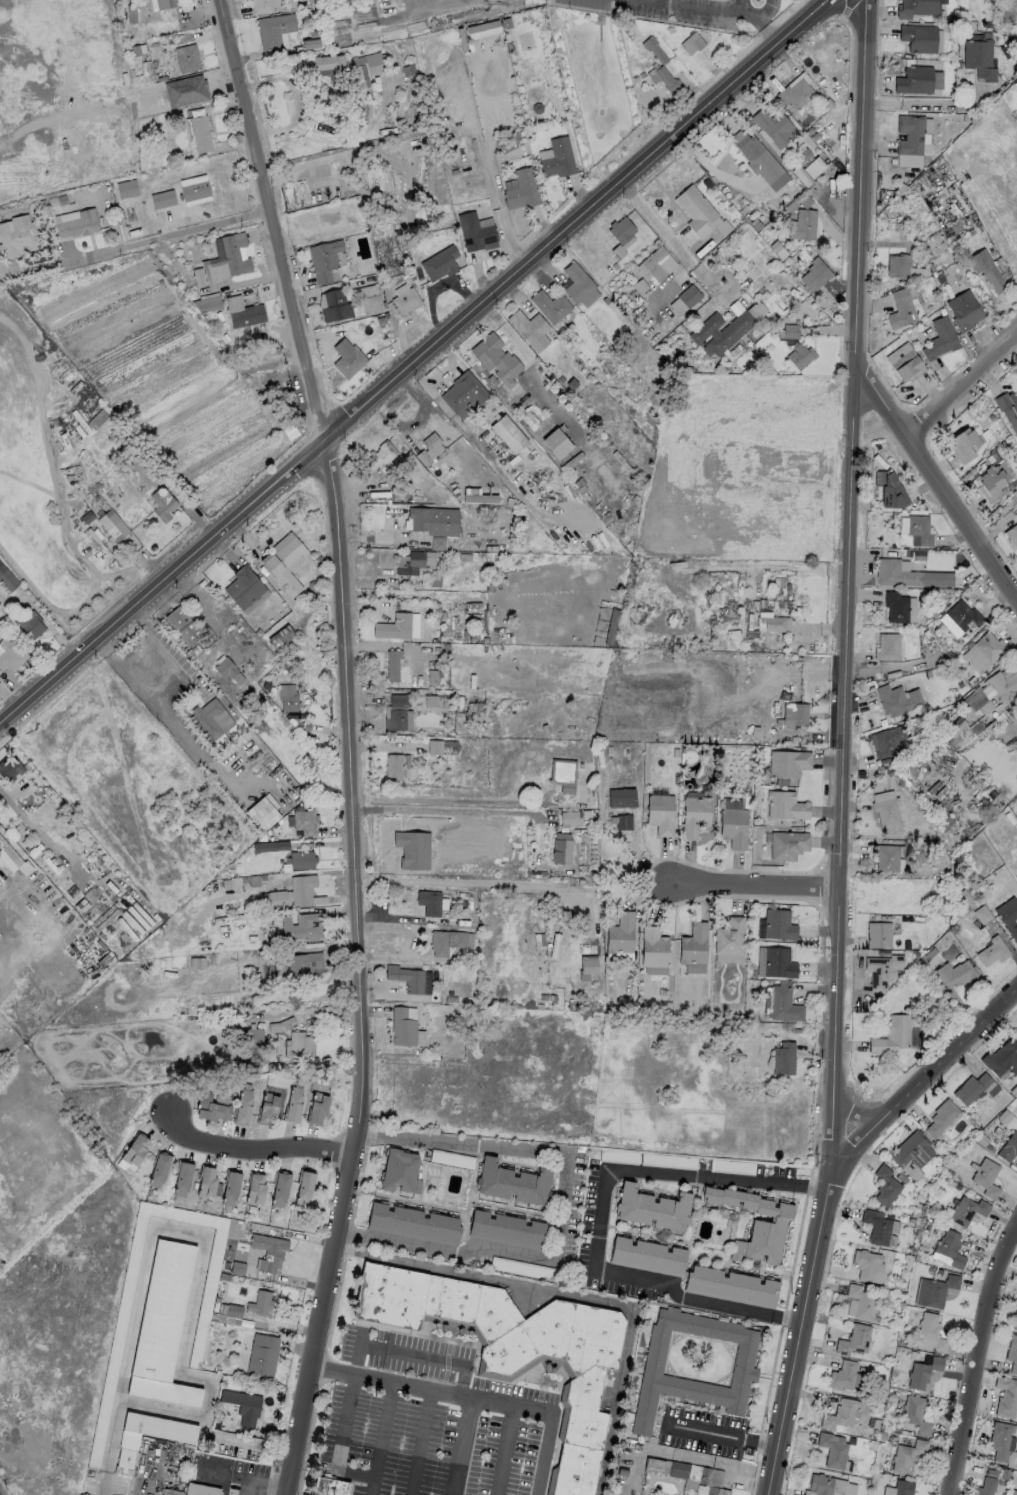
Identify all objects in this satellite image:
building: (164, 4)
road: (737, 5)
building: (261, 6)
building: (916, 7)
road: (732, 9)
road: (767, 11)
road: (854, 19)
building: (481, 29)
building: (274, 30)
building: (918, 37)
building: (691, 43)
building: (310, 44)
building: (978, 57)
building: (187, 58)
building: (658, 65)
building: (341, 67)
building: (917, 79)
building: (797, 95)
road: (928, 104)
building: (773, 126)
building: (198, 133)
building: (909, 134)
building: (746, 145)
building: (557, 158)
building: (311, 167)
building: (814, 167)
building: (126, 188)
building: (521, 188)
building: (195, 190)
building: (162, 198)
building: (696, 210)
building: (77, 224)
building: (802, 224)
road: (658, 225)
building: (622, 229)
building: (476, 231)
building: (17, 235)
road: (167, 235)
building: (745, 245)
building: (324, 259)
building: (223, 260)
building: (657, 263)
road: (33, 265)
building: (438, 265)
building: (898, 265)
building: (987, 270)
building: (814, 274)
building: (577, 282)
building: (685, 299)
building: (370, 300)
building: (405, 300)
building: (208, 304)
building: (774, 304)
building: (334, 305)
building: (550, 305)
building: (900, 309)
building: (963, 310)
building: (243, 312)
building: (529, 329)
building: (720, 331)
building: (788, 332)
building: (940, 338)
building: (799, 355)
building: (347, 358)
building: (496, 359)
building: (904, 361)
road: (419, 366)
road: (443, 375)
road: (963, 382)
building: (463, 394)
building: (1008, 409)
road: (455, 420)
building: (508, 434)
building: (556, 443)
building: (964, 443)
building: (429, 449)
building: (380, 457)
road: (942, 481)
building: (990, 483)
building: (889, 490)
building: (162, 504)
building: (434, 520)
building: (112, 525)
building: (919, 529)
building: (1012, 534)
building: (437, 543)
building: (416, 560)
building: (284, 562)
building: (904, 573)
building: (7, 579)
building: (243, 587)
building: (894, 606)
building: (963, 615)
building: (774, 623)
building: (31, 624)
building: (182, 625)
building: (393, 627)
building: (280, 637)
building: (886, 646)
building: (988, 646)
building: (10, 654)
building: (392, 665)
building: (228, 670)
building: (1002, 682)
road: (176, 692)
building: (287, 697)
building: (896, 699)
building: (794, 714)
building: (210, 720)
building: (398, 720)
building: (884, 743)
road: (342, 744)
building: (434, 747)
road: (200, 749)
road: (841, 749)
building: (788, 763)
building: (392, 767)
building: (10, 769)
building: (561, 774)
building: (620, 798)
building: (785, 806)
road: (444, 811)
building: (886, 811)
building: (262, 814)
building: (660, 814)
building: (694, 816)
building: (569, 819)
building: (305, 822)
building: (623, 822)
building: (733, 828)
building: (410, 842)
building: (787, 845)
building: (560, 849)
building: (12, 858)
building: (886, 858)
building: (300, 859)
road: (468, 881)
road: (753, 886)
building: (302, 889)
building: (68, 890)
building: (429, 902)
building: (1008, 916)
building: (776, 925)
building: (301, 927)
building: (620, 933)
building: (878, 935)
building: (729, 940)
building: (448, 941)
building: (693, 944)
building: (653, 947)
building: (991, 951)
building: (774, 963)
building: (296, 966)
building: (586, 967)
building: (881, 970)
building: (952, 975)
building: (406, 978)
building: (784, 1004)
building: (280, 1025)
building: (402, 1027)
building: (1016, 1032)
building: (892, 1036)
building: (250, 1042)
building: (298, 1044)
building: (1002, 1058)
building: (783, 1059)
building: (1007, 1078)
road: (922, 1089)
building: (974, 1089)
building: (292, 1105)
building: (242, 1107)
building: (210, 1108)
building: (267, 1108)
building: (316, 1108)
road: (867, 1111)
building: (940, 1118)
building: (1008, 1148)
road: (251, 1149)
building: (135, 1150)
building: (910, 1150)
building: (450, 1159)
building: (158, 1170)
building: (399, 1172)
building: (985, 1177)
building: (182, 1179)
building: (206, 1183)
building: (512, 1183)
building: (885, 1186)
road: (808, 1187)
building: (230, 1188)
building: (304, 1188)
building: (280, 1189)
building: (255, 1190)
building: (652, 1209)
building: (967, 1210)
road: (562, 1211)
road: (601, 1216)
building: (412, 1223)
building: (754, 1225)
building: (876, 1227)
building: (505, 1230)
building: (949, 1250)
building: (268, 1252)
building: (646, 1256)
building: (868, 1266)
building: (525, 1268)
building: (730, 1286)
building: (934, 1291)
building: (861, 1302)
building: (260, 1303)
building: (1015, 1321)
building: (162, 1327)
building: (930, 1334)
building: (853, 1340)
building: (513, 1346)
building: (115, 1347)
building: (1012, 1353)
building: (262, 1355)
road: (979, 1358)
building: (694, 1364)
building: (923, 1372)
building: (842, 1375)
road: (475, 1396)
building: (1006, 1396)
building: (243, 1407)
building: (839, 1415)
building: (915, 1415)
road: (382, 1428)
road: (727, 1435)
building: (180, 1439)
road: (420, 1441)
building: (999, 1441)
road: (462, 1445)
road: (338, 1448)
building: (832, 1450)
building: (907, 1455)
road: (213, 1472)
building: (684, 1472)
road: (237, 1478)
road: (260, 1483)
building: (820, 1484)
building: (985, 1486)
building: (328, 1487)
building: (899, 1488)
building: (200, 1490)
building: (716, 1491)
building: (1011, 1492)

